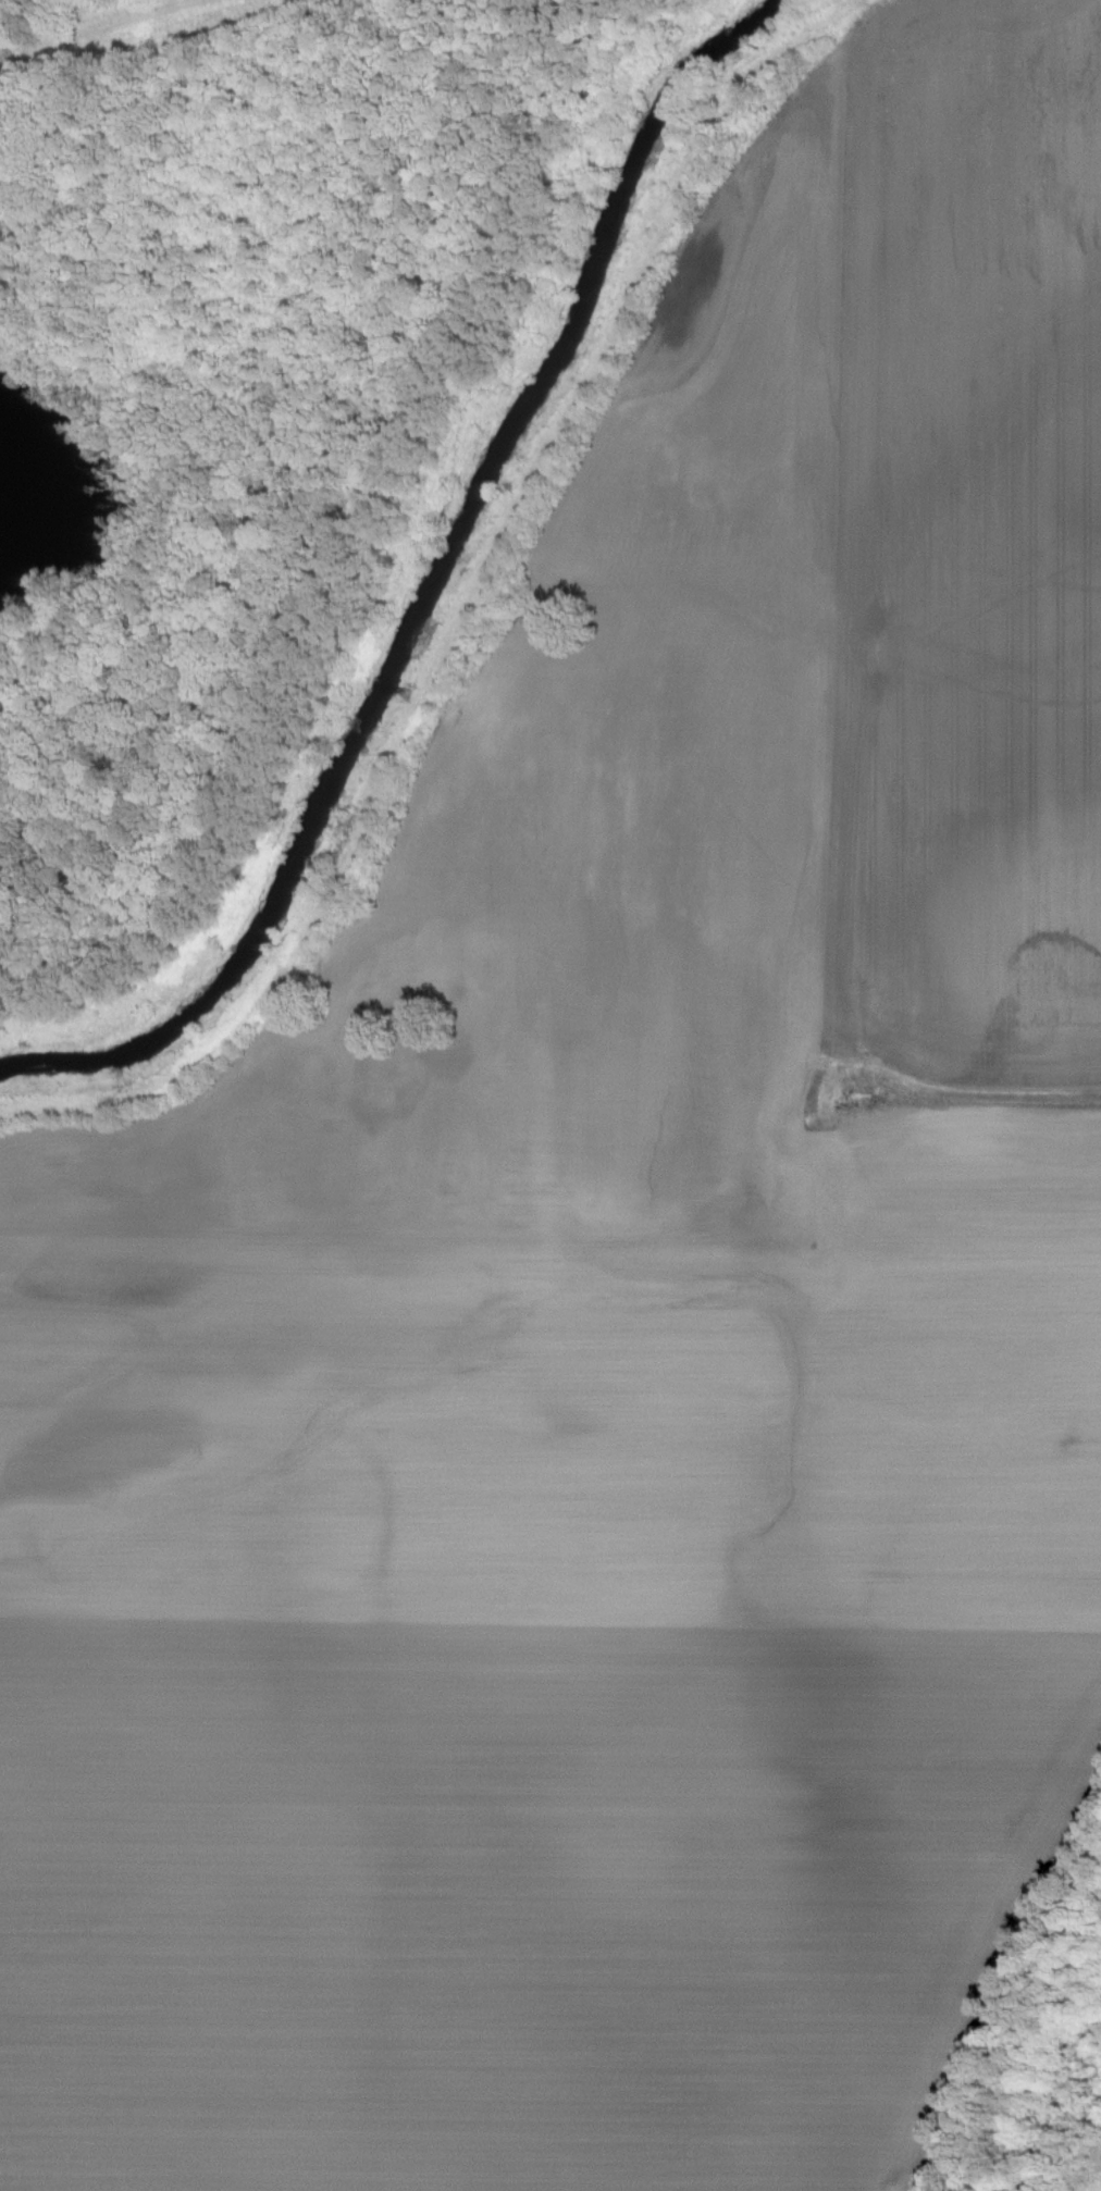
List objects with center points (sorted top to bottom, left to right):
river: (435, 586)
road: (1001, 1988)
road: (958, 2176)

